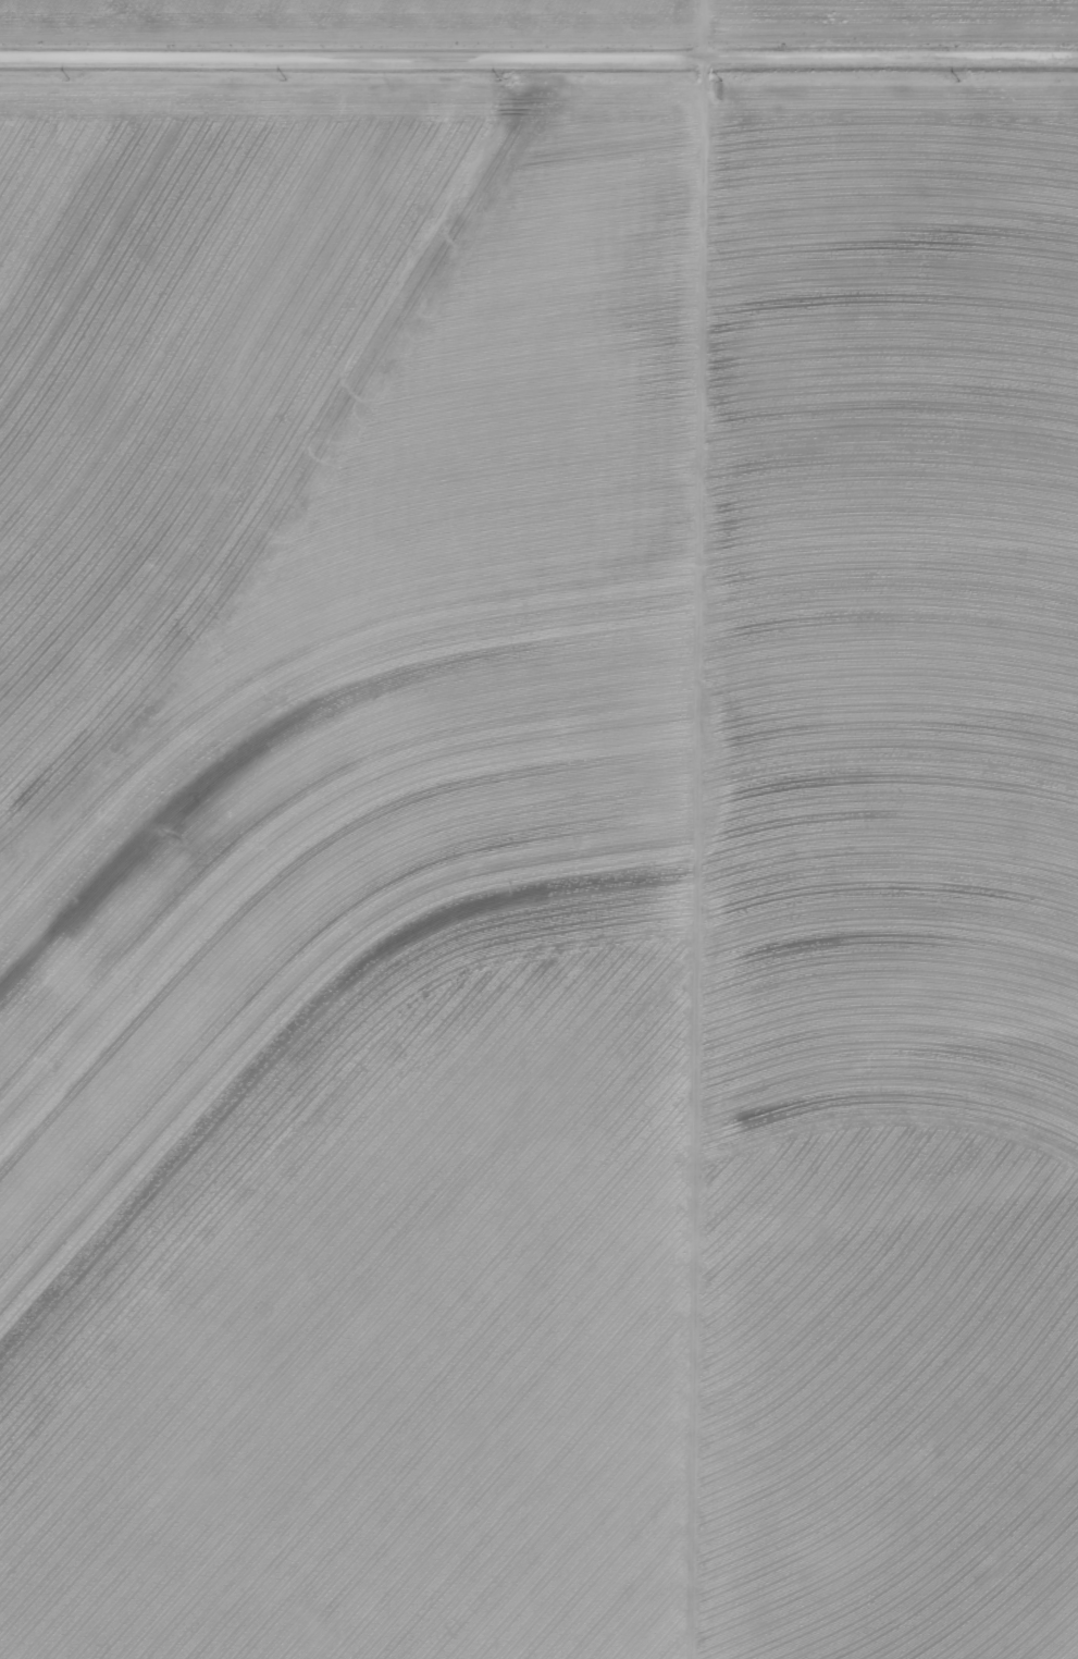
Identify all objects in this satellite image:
road: (538, 72)
road: (656, 865)

